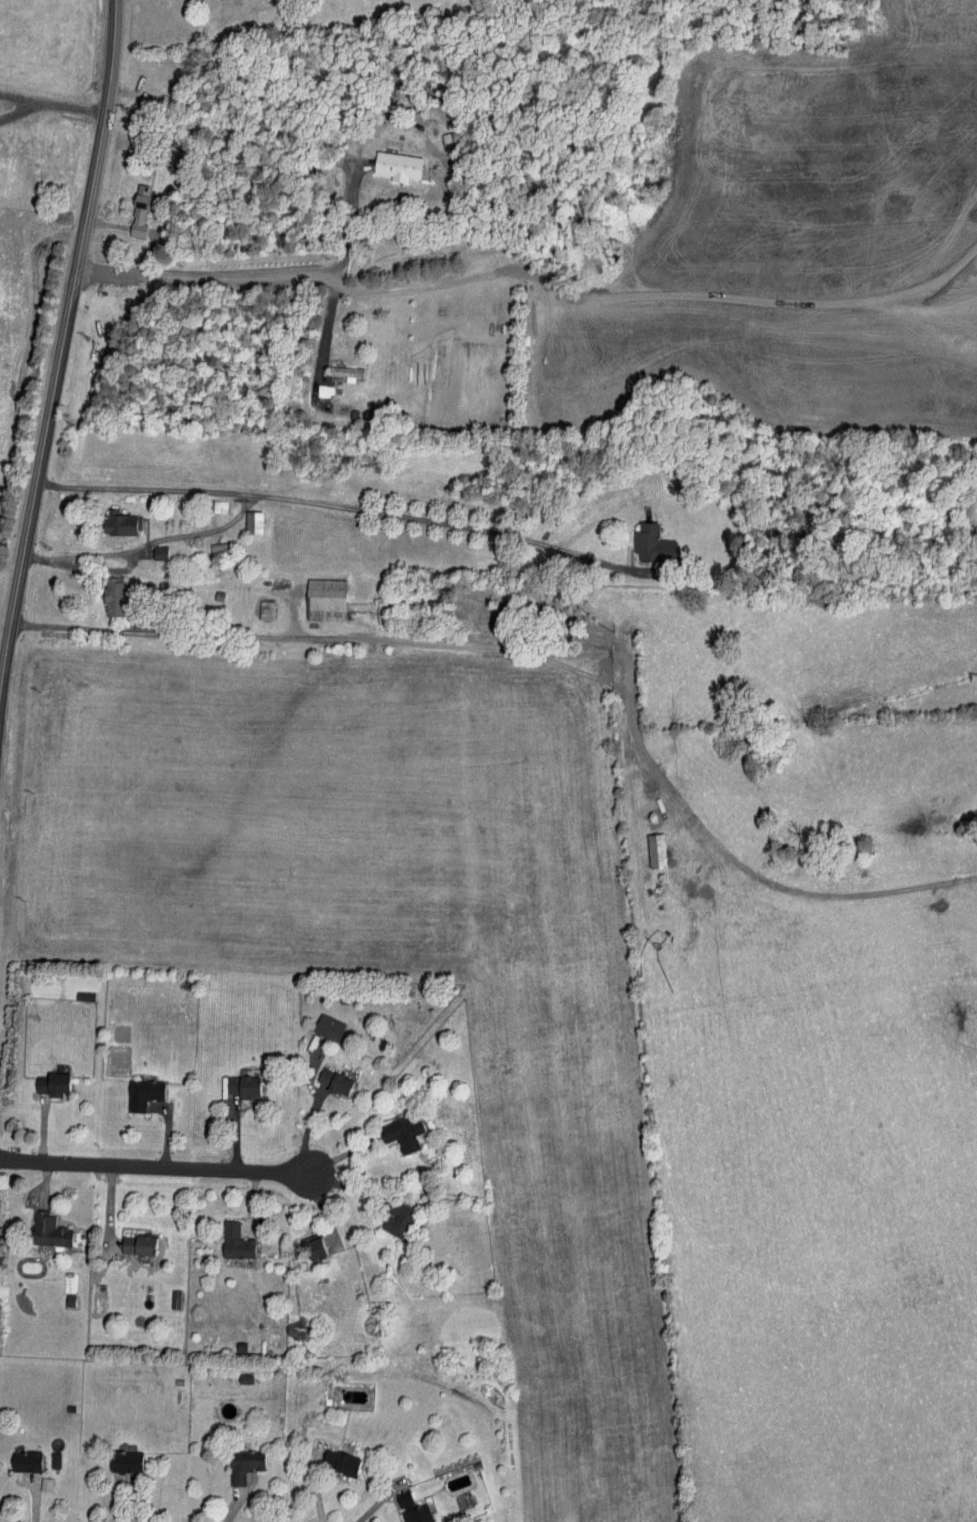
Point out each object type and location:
road: (83, 114)
building: (395, 166)
building: (139, 210)
road: (117, 213)
road: (351, 223)
road: (253, 279)
road: (59, 352)
building: (344, 372)
road: (286, 493)
building: (251, 523)
building: (118, 524)
road: (148, 544)
building: (651, 544)
building: (112, 598)
building: (323, 600)
building: (265, 611)
road: (405, 644)
building: (654, 851)
building: (327, 1027)
building: (332, 1080)
building: (51, 1083)
building: (243, 1086)
building: (142, 1093)
road: (311, 1131)
building: (400, 1132)
road: (46, 1138)
road: (165, 1138)
road: (232, 1142)
road: (347, 1160)
road: (153, 1168)
road: (45, 1184)
road: (339, 1188)
road: (110, 1203)
road: (251, 1203)
road: (319, 1212)
building: (395, 1217)
building: (47, 1230)
building: (234, 1241)
building: (136, 1244)
building: (312, 1248)
building: (174, 1298)
building: (55, 1460)
building: (24, 1461)
building: (123, 1461)
building: (340, 1463)
building: (243, 1465)
road: (312, 1483)
road: (33, 1502)
road: (133, 1504)
road: (376, 1505)
road: (236, 1506)
building: (411, 1508)

